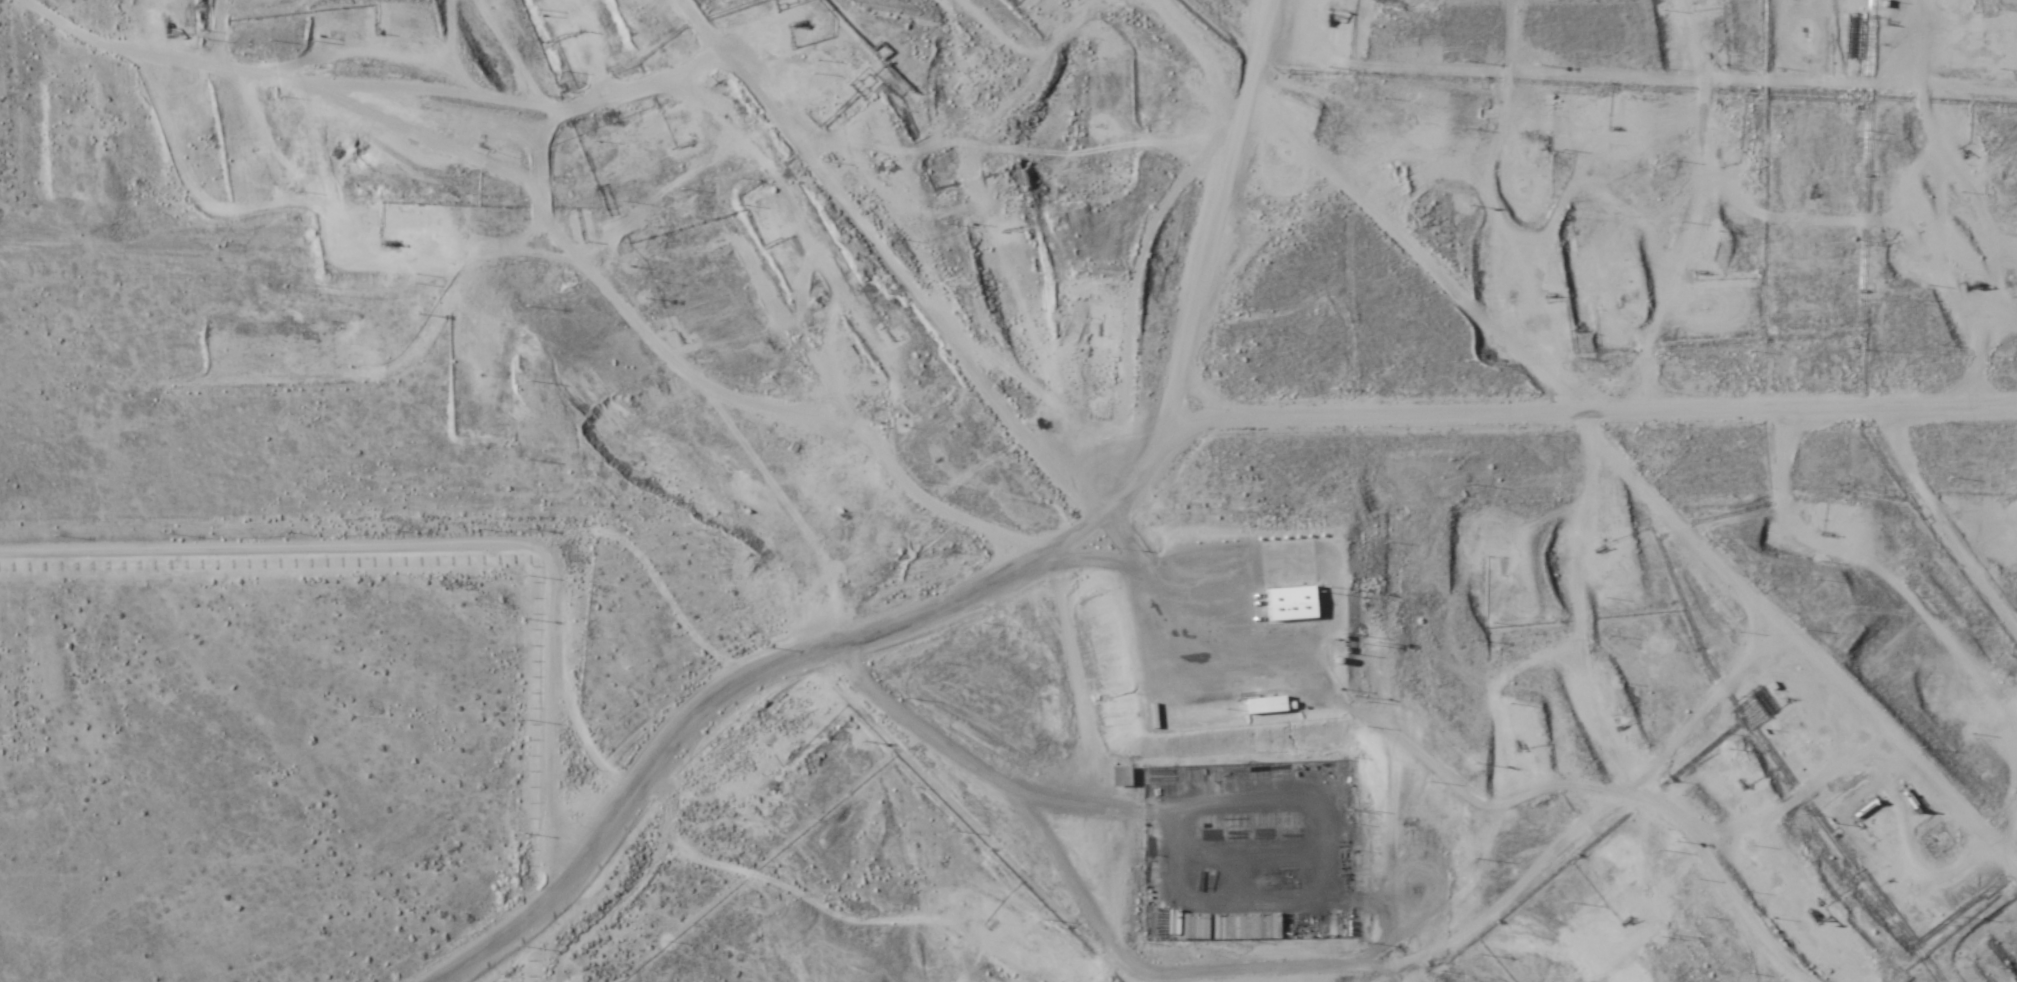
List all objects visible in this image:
road: (1213, 41)
road: (1629, 431)
road: (1144, 455)
building: (1293, 604)
building: (1259, 706)
building: (1201, 710)
building: (1120, 776)
road: (1948, 828)
building: (1172, 922)

